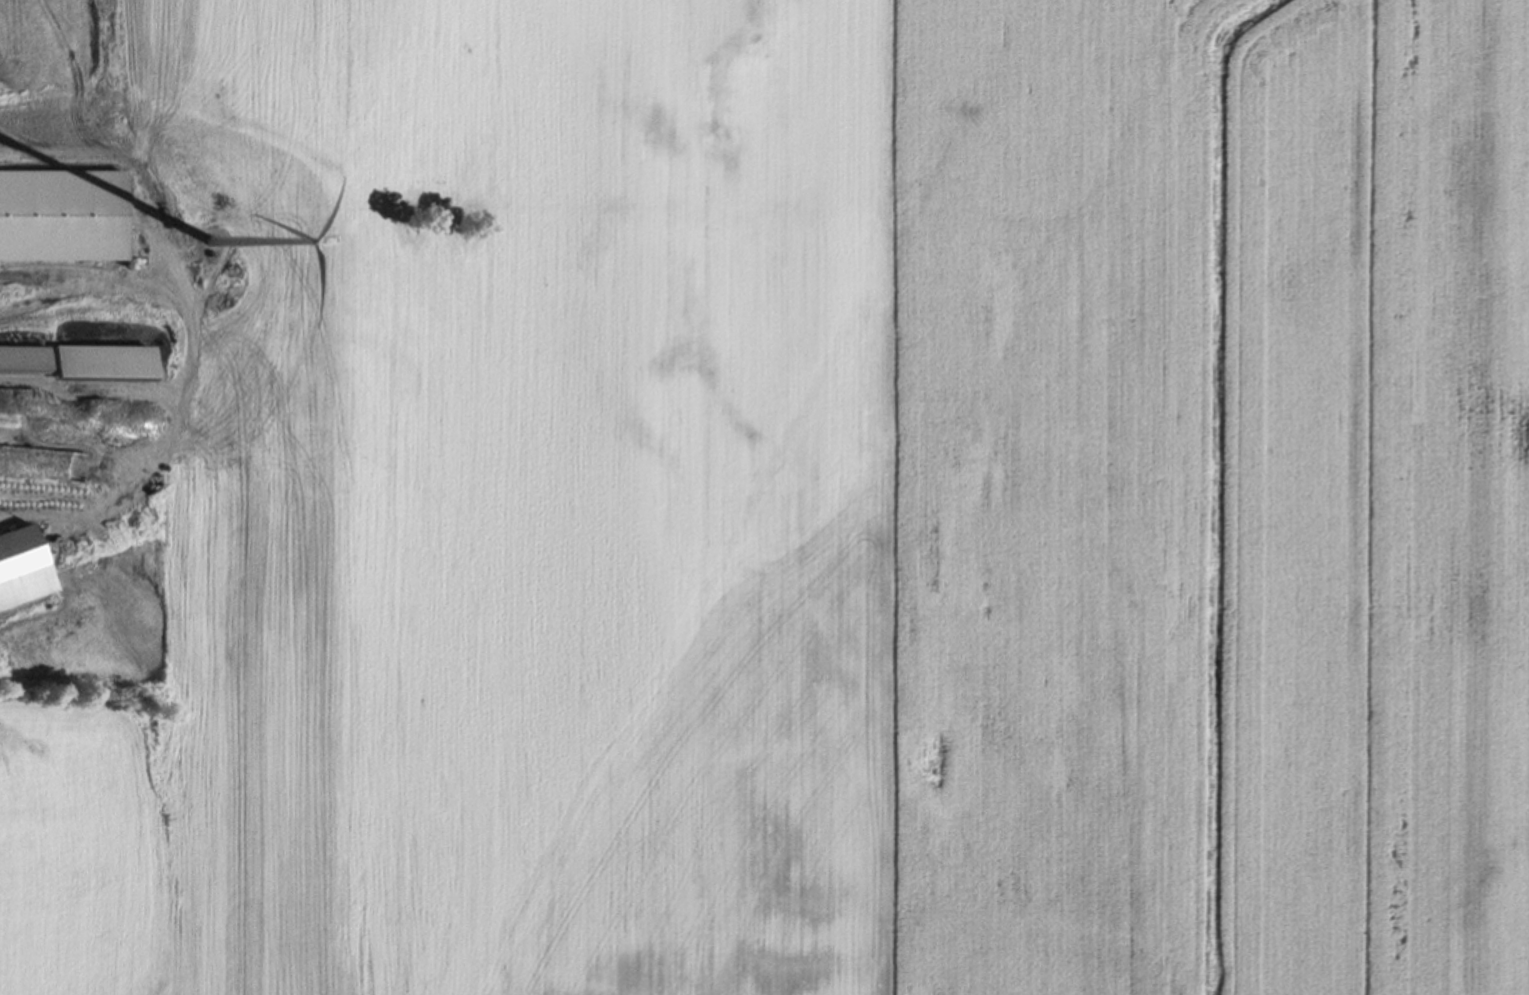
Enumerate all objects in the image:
wind turbine: (218, 243)
building: (20, 360)
building: (19, 567)

